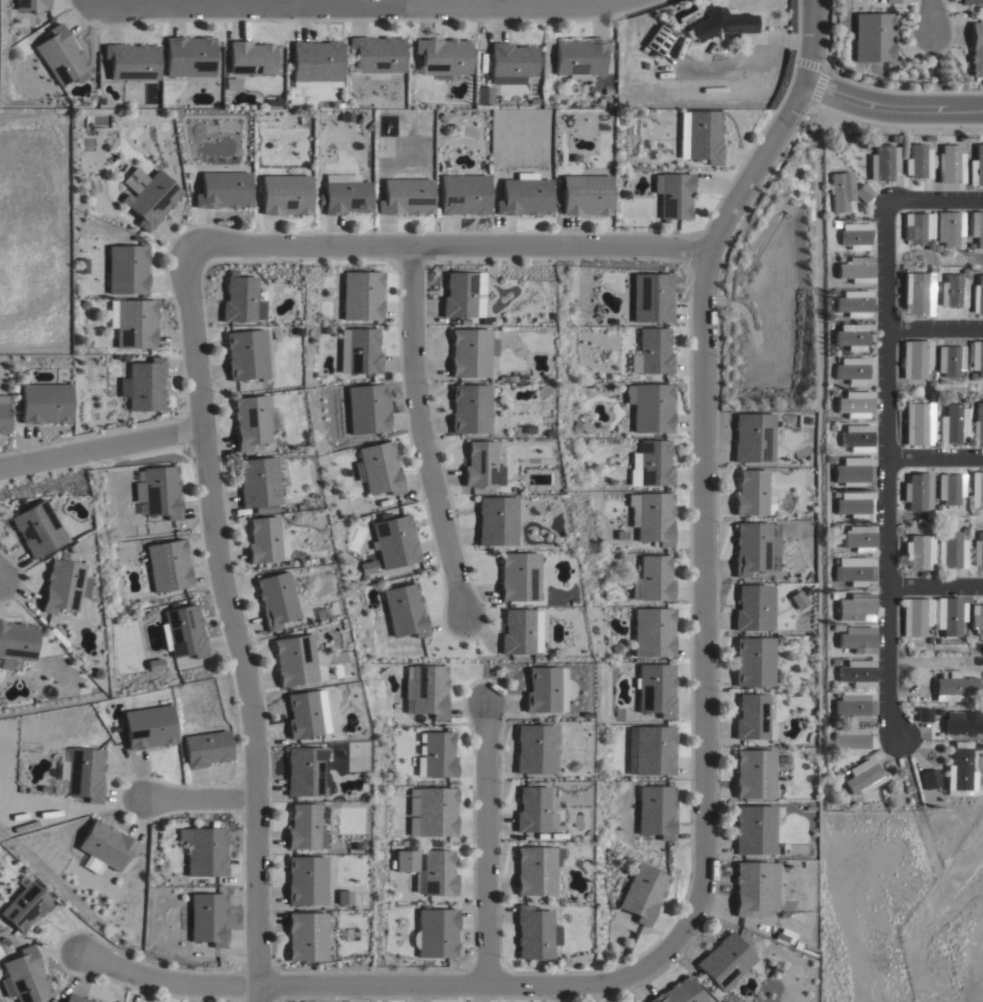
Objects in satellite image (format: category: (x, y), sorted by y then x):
building: (891, 1)
building: (971, 1)
road: (87, 3)
building: (31, 4)
road: (352, 5)
road: (929, 12)
building: (719, 23)
building: (872, 37)
building: (657, 38)
road: (809, 43)
building: (976, 47)
building: (375, 52)
building: (60, 54)
building: (580, 54)
building: (188, 55)
building: (442, 55)
building: (250, 56)
building: (314, 59)
building: (131, 60)
building: (511, 61)
building: (230, 84)
building: (482, 94)
road: (894, 106)
building: (699, 135)
building: (894, 137)
building: (961, 137)
building: (928, 138)
building: (917, 160)
building: (950, 161)
building: (882, 163)
building: (976, 166)
building: (222, 189)
building: (840, 190)
building: (862, 191)
building: (284, 193)
building: (344, 193)
building: (462, 193)
building: (584, 193)
building: (523, 194)
building: (672, 194)
building: (148, 195)
building: (404, 196)
road: (934, 202)
building: (835, 223)
building: (917, 227)
building: (949, 227)
building: (977, 227)
building: (854, 235)
building: (929, 246)
building: (937, 246)
building: (970, 246)
road: (440, 249)
building: (839, 256)
building: (126, 269)
building: (856, 269)
building: (961, 270)
building: (832, 291)
building: (951, 291)
building: (462, 293)
building: (916, 293)
building: (976, 294)
building: (360, 295)
building: (651, 297)
building: (240, 299)
building: (853, 303)
building: (132, 323)
road: (935, 327)
building: (323, 330)
building: (850, 336)
building: (86, 345)
building: (654, 350)
building: (360, 351)
building: (470, 351)
building: (245, 354)
building: (976, 357)
building: (915, 358)
building: (949, 360)
building: (851, 369)
building: (972, 376)
building: (143, 384)
building: (963, 398)
building: (42, 403)
building: (854, 404)
building: (650, 407)
building: (365, 409)
building: (469, 409)
building: (2, 414)
building: (250, 422)
building: (917, 422)
building: (951, 423)
building: (977, 425)
building: (831, 427)
road: (421, 434)
building: (751, 438)
building: (857, 438)
road: (102, 447)
road: (936, 456)
building: (829, 458)
building: (651, 464)
road: (890, 464)
building: (481, 465)
building: (377, 468)
building: (850, 471)
building: (258, 482)
building: (950, 488)
building: (976, 489)
building: (158, 491)
building: (917, 491)
building: (752, 493)
building: (835, 494)
road: (702, 495)
building: (852, 504)
building: (973, 512)
building: (930, 515)
building: (653, 518)
building: (496, 521)
building: (833, 526)
building: (35, 528)
building: (931, 529)
building: (963, 532)
building: (859, 538)
building: (265, 541)
building: (394, 541)
building: (754, 548)
building: (977, 549)
building: (918, 552)
building: (950, 552)
building: (836, 560)
building: (167, 566)
building: (368, 566)
building: (852, 572)
building: (518, 576)
building: (652, 580)
road: (937, 585)
building: (62, 586)
building: (833, 596)
building: (796, 599)
building: (275, 600)
building: (855, 607)
building: (753, 608)
building: (328, 610)
building: (404, 611)
building: (948, 615)
building: (915, 617)
building: (976, 619)
road: (233, 624)
building: (835, 627)
building: (653, 631)
building: (184, 632)
building: (520, 632)
building: (857, 640)
building: (929, 641)
building: (938, 641)
building: (16, 644)
building: (294, 661)
building: (834, 661)
building: (752, 662)
building: (155, 664)
building: (857, 674)
building: (952, 686)
building: (544, 690)
building: (655, 690)
building: (426, 691)
building: (836, 695)
building: (851, 707)
building: (321, 710)
building: (303, 715)
building: (922, 715)
building: (752, 718)
building: (963, 723)
building: (147, 728)
building: (850, 740)
building: (977, 746)
building: (205, 749)
building: (534, 750)
building: (650, 751)
building: (808, 752)
building: (435, 757)
building: (305, 772)
building: (959, 772)
building: (84, 775)
building: (753, 775)
building: (863, 777)
building: (929, 780)
building: (841, 792)
road: (202, 798)
building: (807, 808)
building: (532, 811)
building: (430, 812)
building: (656, 812)
building: (158, 826)
building: (24, 827)
building: (305, 829)
building: (753, 831)
building: (354, 843)
building: (104, 847)
road: (483, 847)
building: (204, 852)
building: (404, 861)
building: (535, 872)
building: (435, 875)
building: (306, 882)
building: (750, 889)
building: (642, 895)
building: (343, 897)
building: (24, 906)
building: (207, 920)
building: (436, 934)
building: (532, 934)
building: (306, 938)
building: (723, 964)
building: (23, 975)
road: (387, 985)
building: (678, 993)
building: (77, 998)
building: (126, 1001)

